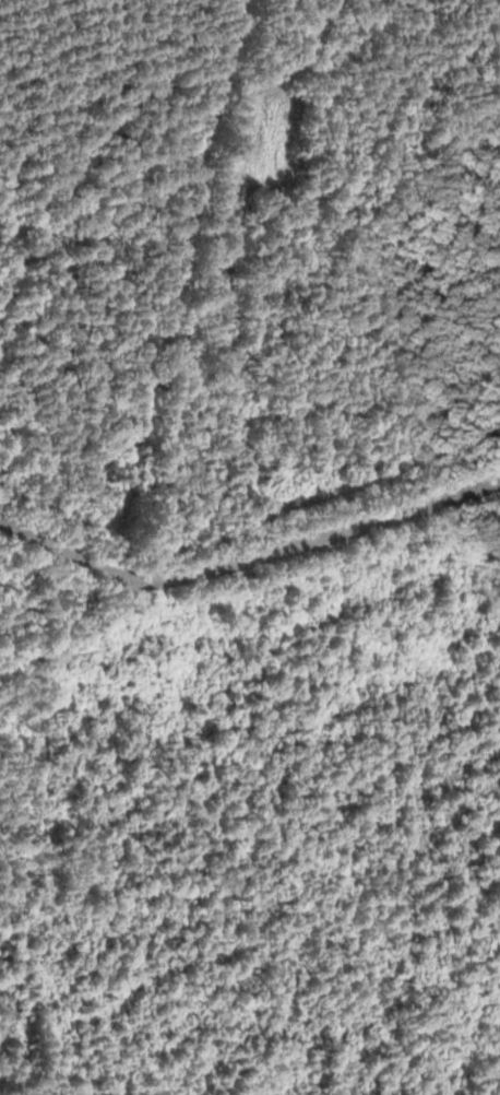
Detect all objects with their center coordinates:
road: (246, 542)

